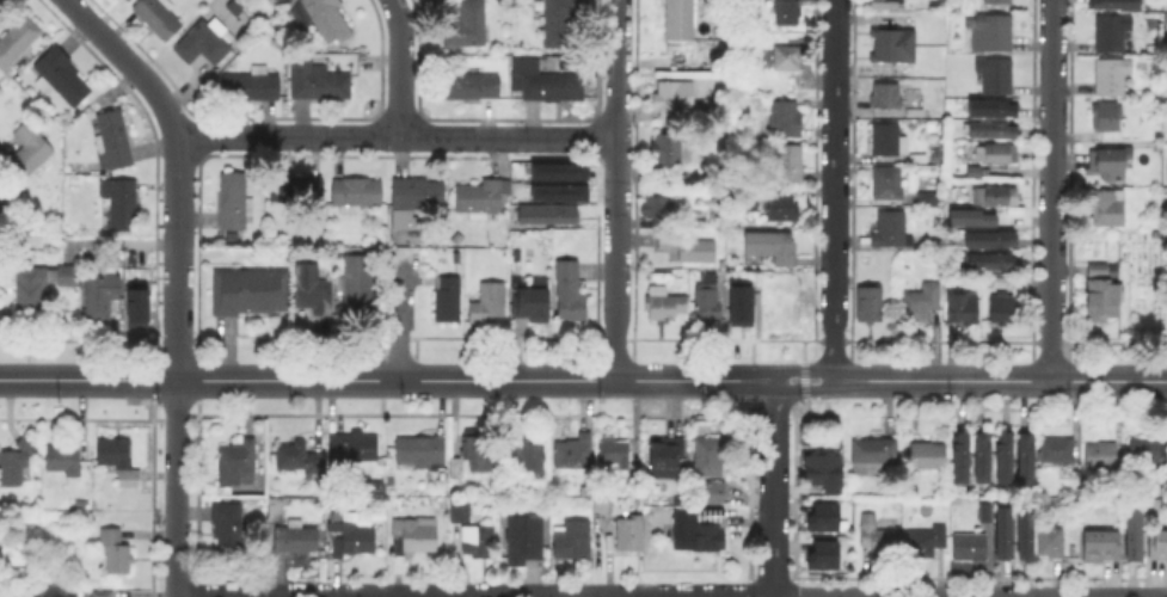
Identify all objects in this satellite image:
building: (123, 0)
building: (281, 1)
building: (883, 2)
building: (997, 2)
building: (1114, 4)
building: (786, 11)
building: (161, 16)
building: (677, 18)
building: (321, 19)
building: (561, 20)
building: (1166, 23)
building: (469, 24)
building: (990, 33)
building: (1112, 33)
building: (19, 39)
building: (207, 39)
building: (892, 42)
building: (787, 57)
road: (400, 68)
building: (63, 74)
building: (996, 76)
building: (1111, 78)
building: (315, 81)
building: (555, 82)
building: (472, 84)
building: (250, 85)
building: (887, 93)
building: (672, 96)
building: (993, 106)
building: (1107, 115)
building: (782, 117)
building: (991, 127)
building: (885, 136)
building: (115, 137)
road: (343, 137)
road: (561, 139)
building: (33, 146)
building: (667, 146)
building: (993, 152)
building: (916, 155)
building: (787, 160)
building: (1110, 164)
building: (555, 170)
building: (971, 170)
building: (1166, 170)
building: (886, 180)
building: (297, 186)
road: (615, 190)
road: (834, 190)
road: (1052, 190)
building: (358, 191)
building: (557, 191)
building: (991, 193)
building: (417, 197)
building: (481, 197)
building: (926, 197)
building: (237, 198)
building: (717, 199)
building: (121, 202)
building: (659, 203)
building: (780, 205)
building: (1108, 209)
building: (549, 211)
building: (714, 215)
building: (968, 216)
building: (889, 227)
building: (990, 238)
building: (686, 244)
building: (769, 244)
building: (991, 259)
building: (69, 275)
road: (177, 277)
building: (361, 284)
building: (784, 285)
building: (31, 288)
building: (314, 288)
building: (250, 289)
building: (570, 293)
building: (110, 294)
building: (1102, 295)
building: (534, 296)
building: (450, 297)
building: (491, 302)
building: (705, 302)
building: (867, 302)
building: (922, 302)
building: (963, 303)
building: (1002, 303)
building: (135, 304)
building: (663, 304)
building: (738, 304)
road: (399, 316)
building: (784, 318)
road: (801, 370)
road: (299, 380)
road: (805, 380)
road: (892, 380)
road: (615, 381)
road: (704, 381)
road: (1002, 381)
road: (1108, 381)
road: (803, 390)
building: (1057, 449)
building: (352, 450)
building: (614, 451)
building: (1147, 451)
building: (420, 453)
building: (575, 453)
building: (872, 454)
building: (927, 454)
building: (121, 455)
building: (475, 455)
building: (664, 455)
building: (70, 456)
building: (708, 456)
building: (962, 456)
building: (1005, 456)
building: (1026, 456)
building: (1101, 456)
building: (297, 457)
building: (529, 457)
building: (983, 457)
building: (17, 461)
building: (239, 461)
building: (821, 469)
building: (455, 474)
road: (773, 488)
building: (710, 491)
building: (678, 499)
building: (600, 503)
building: (460, 507)
building: (985, 510)
building: (274, 511)
road: (87, 516)
building: (818, 516)
building: (231, 528)
building: (1003, 529)
building: (1025, 529)
building: (695, 531)
building: (1135, 533)
building: (524, 535)
building: (629, 536)
building: (478, 537)
building: (296, 538)
building: (349, 538)
building: (879, 538)
building: (926, 538)
building: (412, 540)
building: (573, 540)
building: (1100, 542)
building: (1052, 543)
building: (1157, 543)
building: (970, 547)
building: (116, 549)
building: (821, 554)
road: (43, 556)
building: (105, 592)
road: (970, 595)
road: (474, 596)

